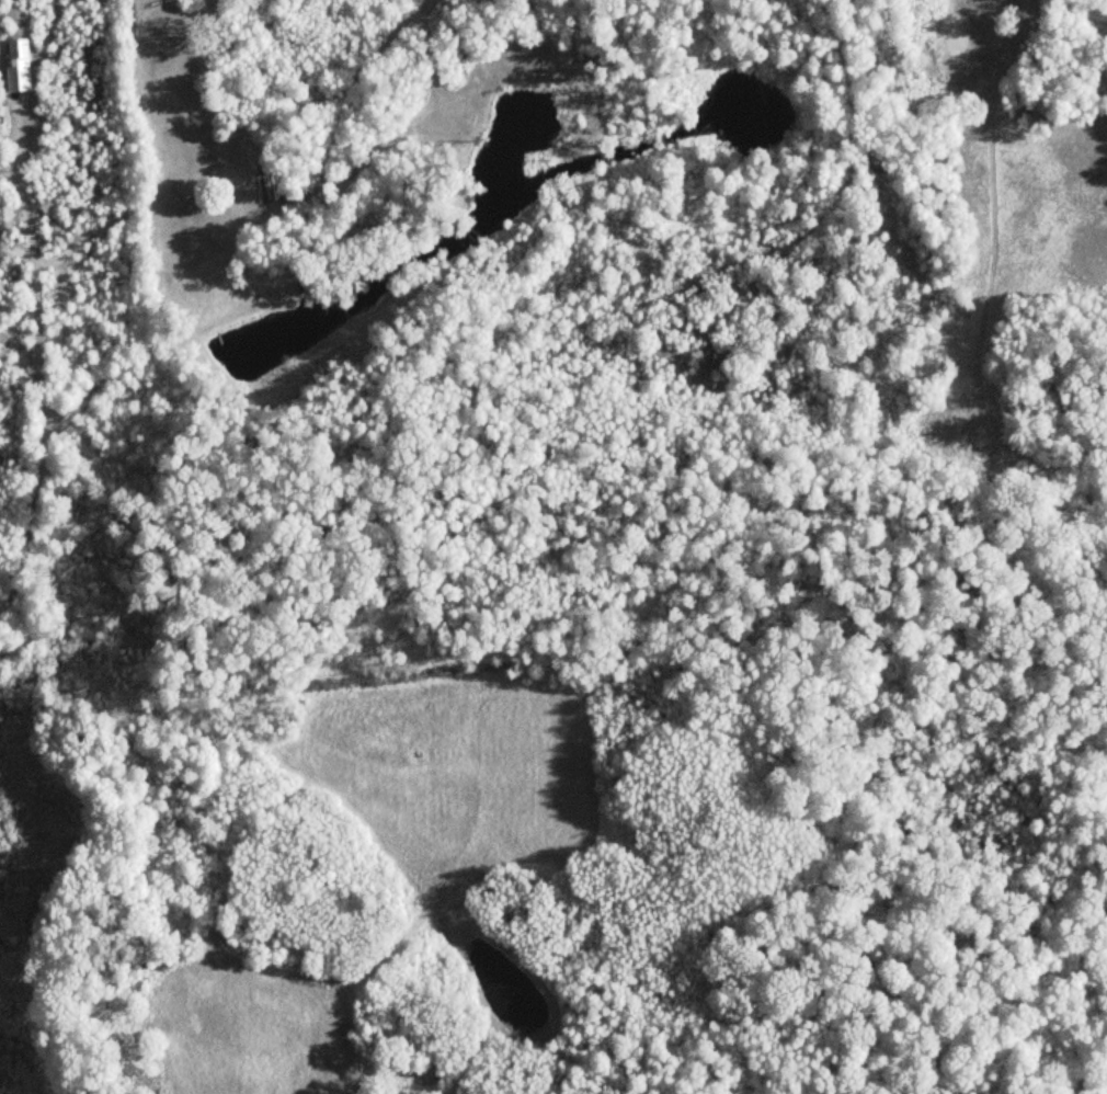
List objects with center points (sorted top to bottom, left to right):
building: (13, 65)
building: (2, 116)

